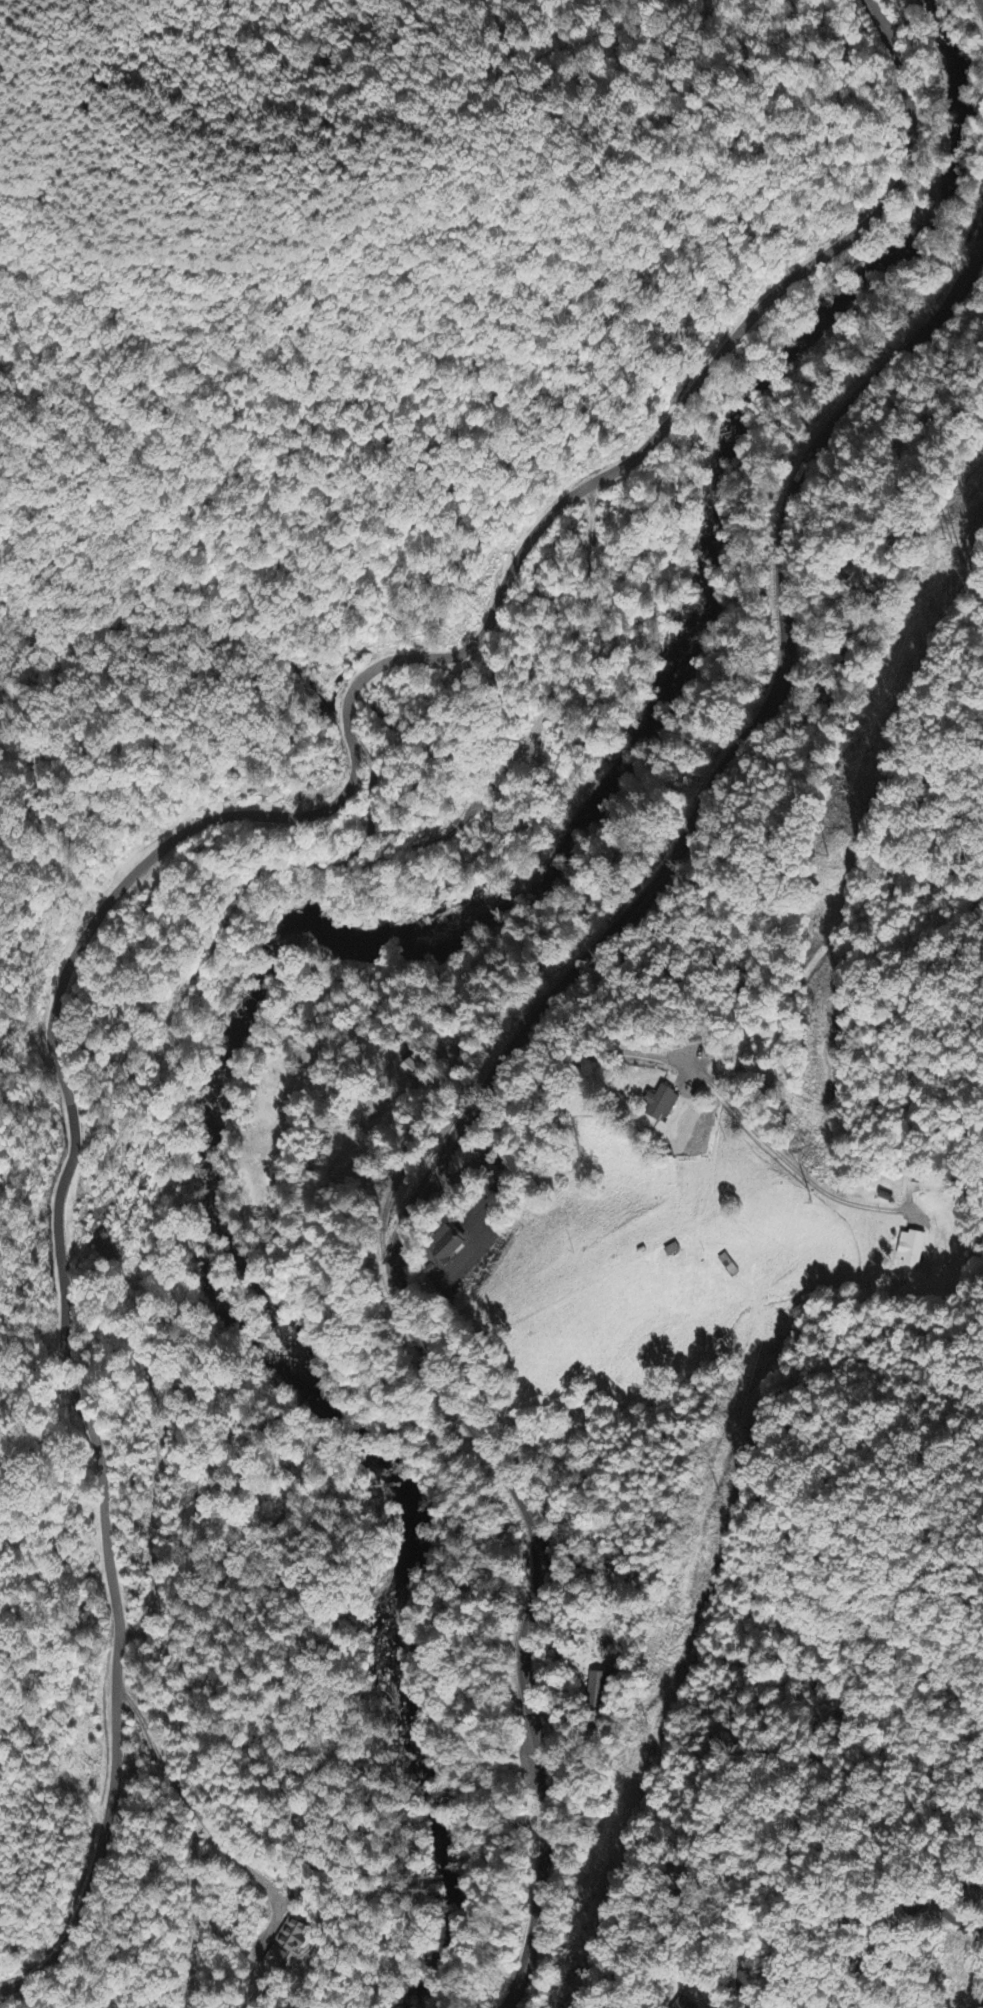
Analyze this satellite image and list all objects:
road: (982, 0)
road: (704, 378)
river: (777, 394)
road: (352, 687)
road: (644, 1055)
building: (414, 1067)
road: (491, 1076)
building: (659, 1106)
building: (442, 1249)
building: (910, 1250)
road: (60, 1283)
river: (285, 1319)
road: (559, 1656)
building: (595, 1689)
road: (944, 1900)
building: (294, 1936)

